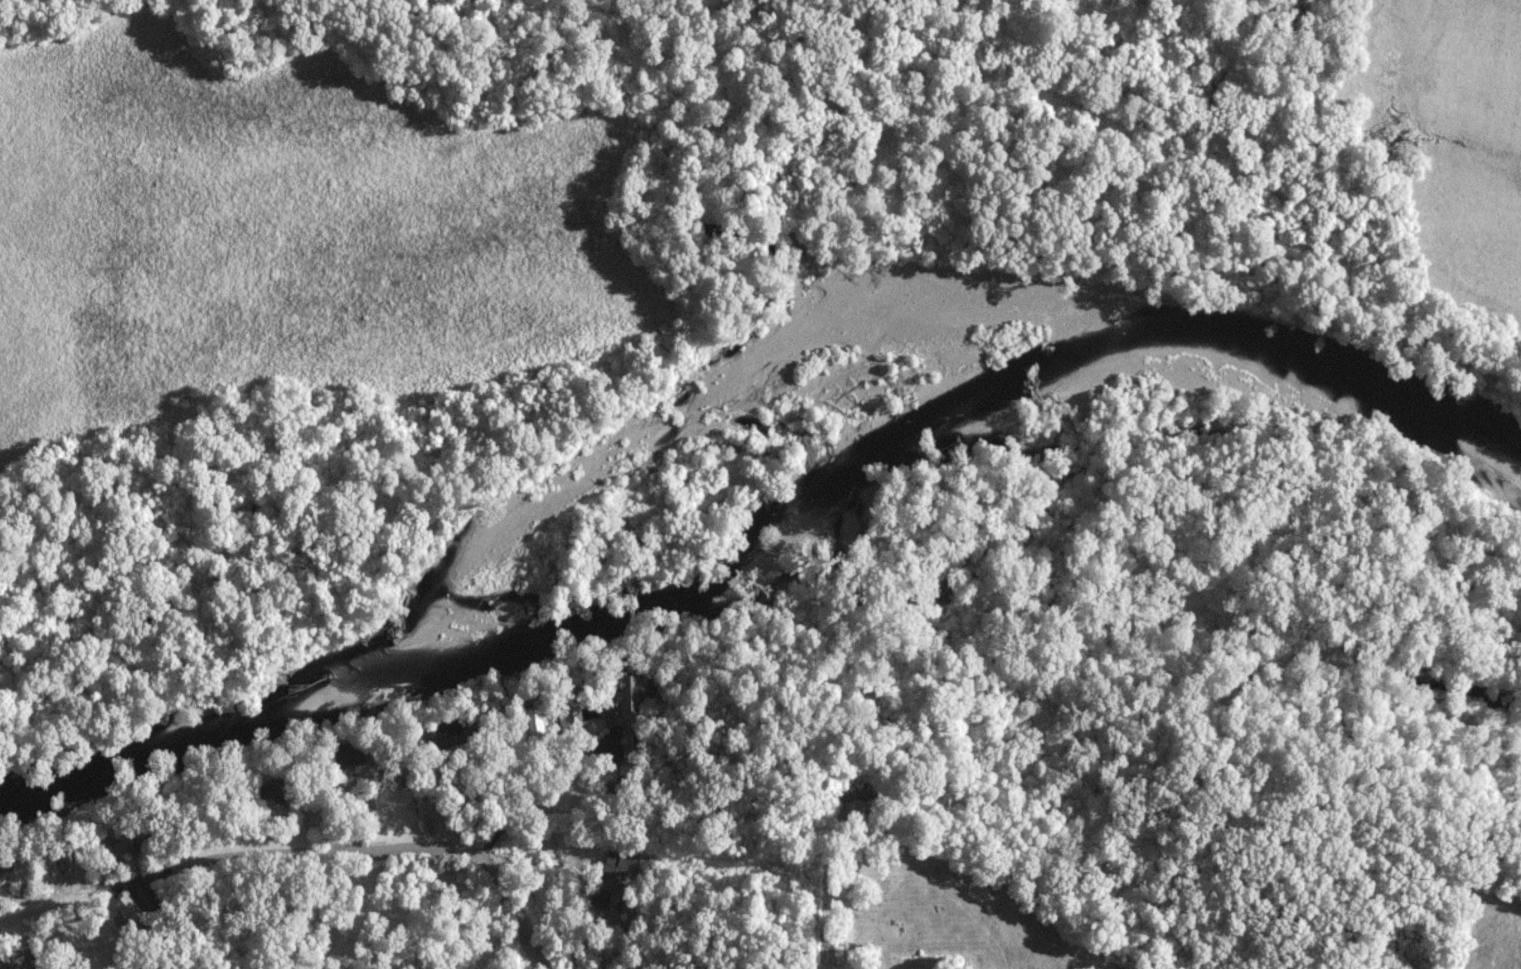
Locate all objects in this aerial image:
crop: (288, 229)
river: (715, 414)
building: (630, 697)
building: (534, 724)
building: (451, 734)
building: (350, 755)
road: (460, 764)
road: (527, 772)
building: (278, 790)
building: (867, 836)
building: (120, 845)
road: (303, 850)
building: (66, 854)
building: (6, 861)
building: (617, 864)
building: (600, 899)
building: (839, 934)

